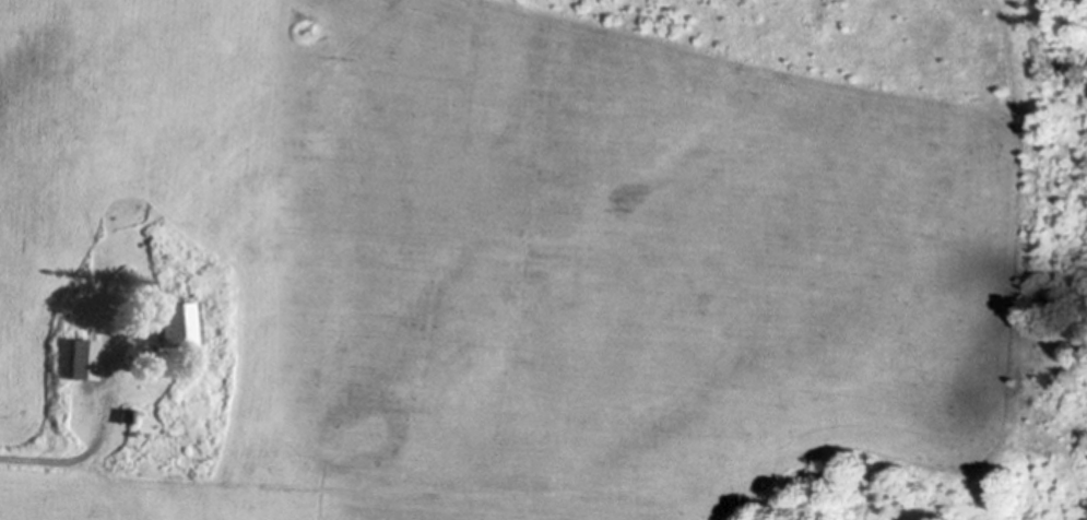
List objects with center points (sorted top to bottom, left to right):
building: (166, 327)
building: (80, 361)
road: (81, 457)

